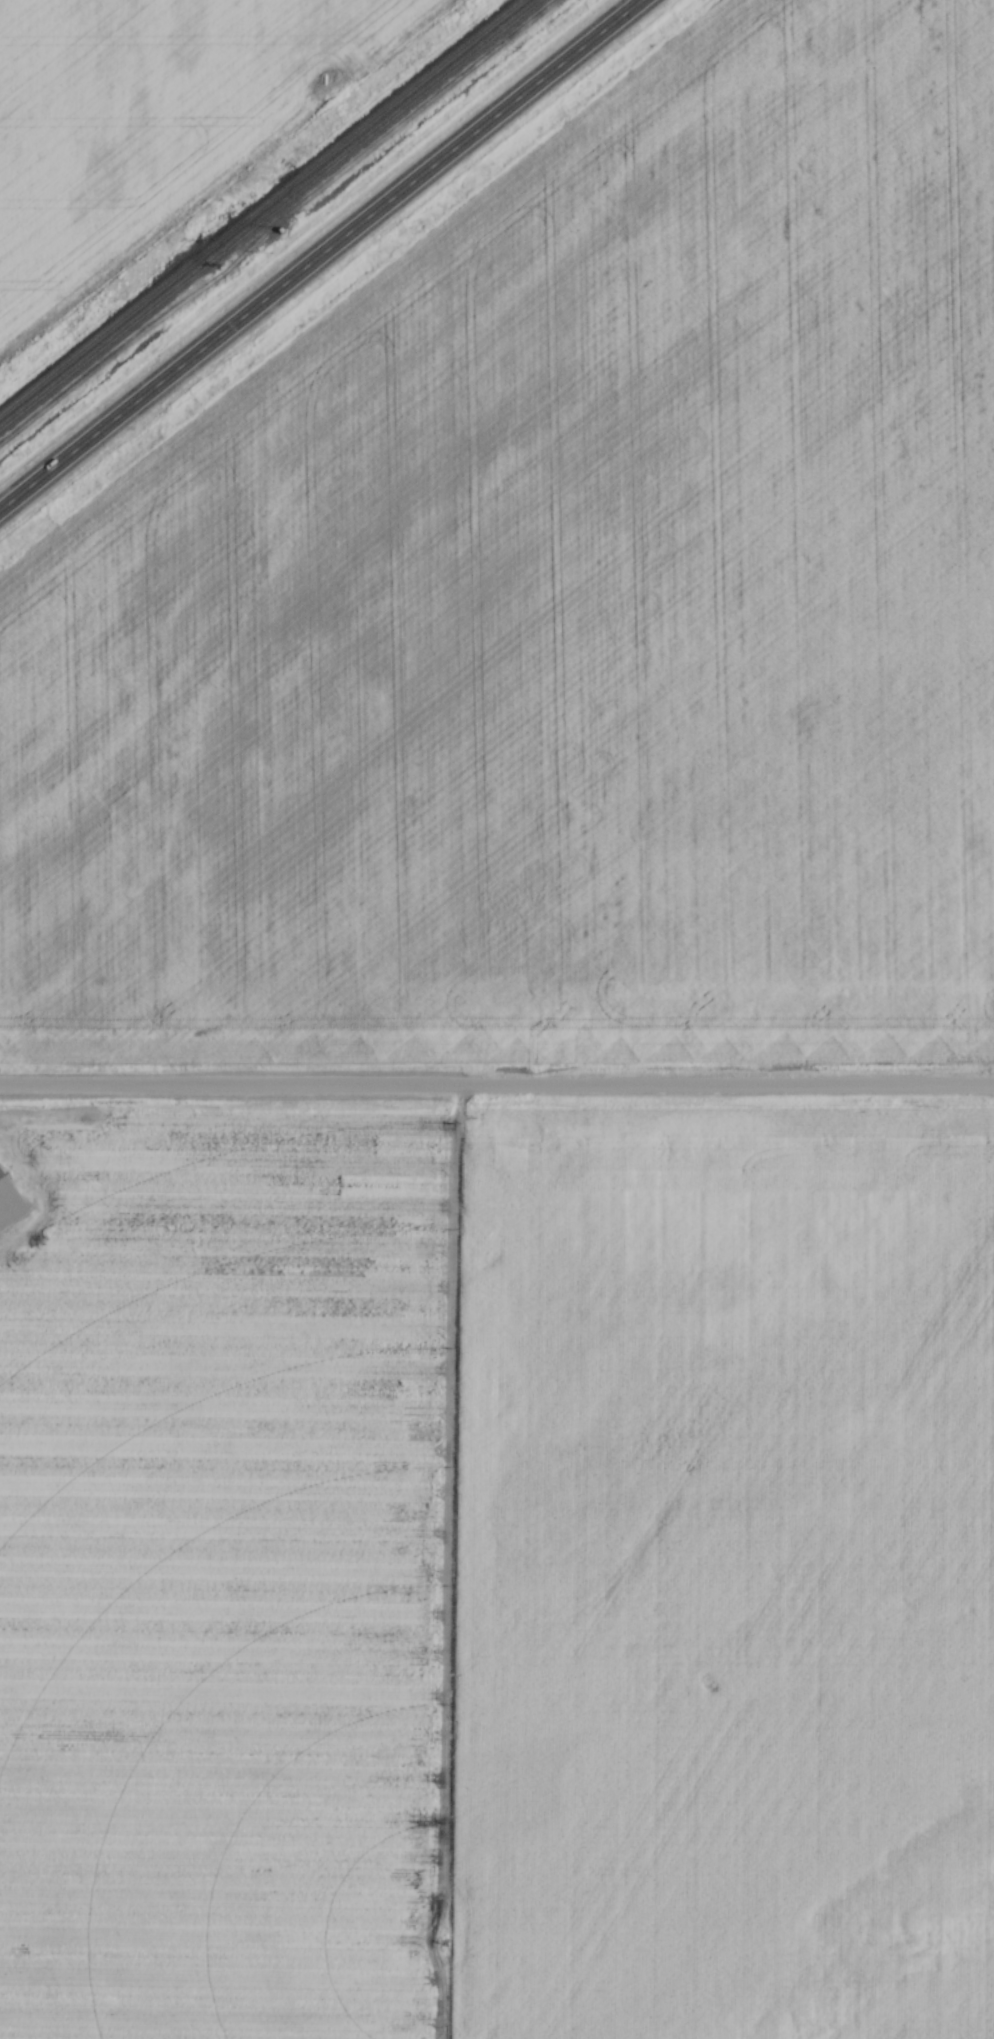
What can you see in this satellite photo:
railway: (260, 207)
railway: (268, 213)
road: (323, 255)
road: (497, 1086)

